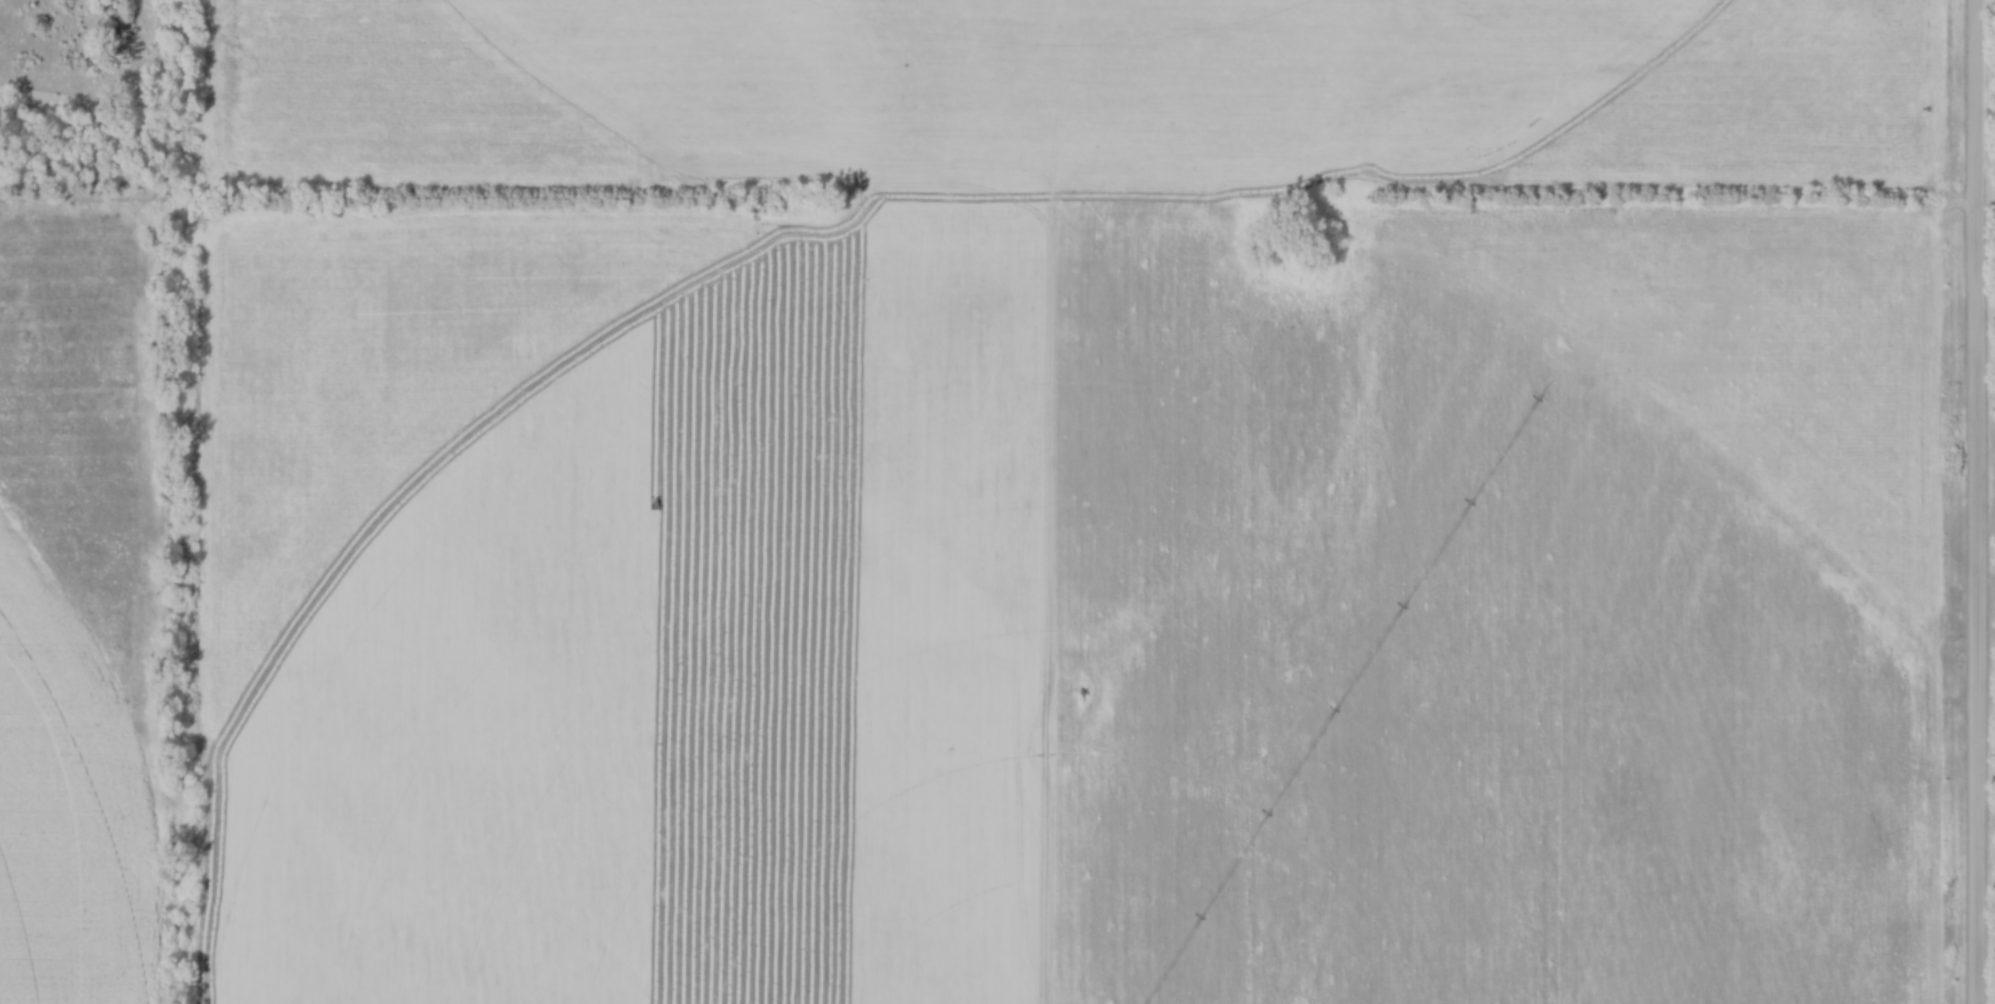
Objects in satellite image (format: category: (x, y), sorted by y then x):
road: (1977, 501)

